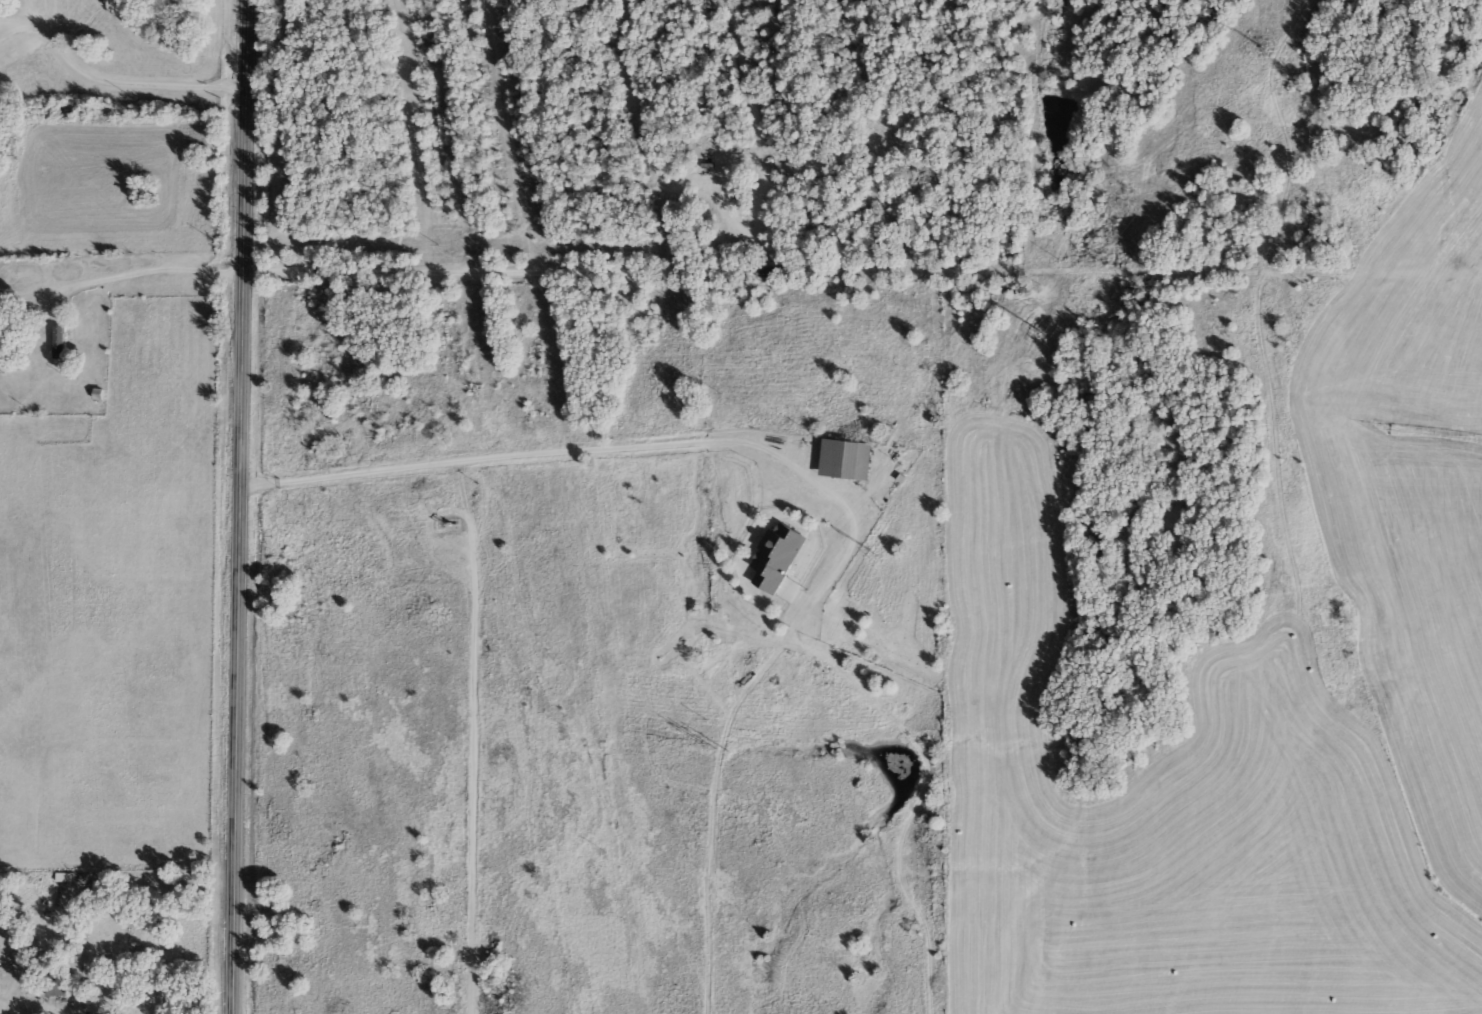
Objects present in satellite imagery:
road: (132, 81)
road: (150, 275)
building: (57, 341)
road: (614, 450)
building: (837, 458)
road: (245, 507)
building: (774, 556)
road: (39, 1004)

